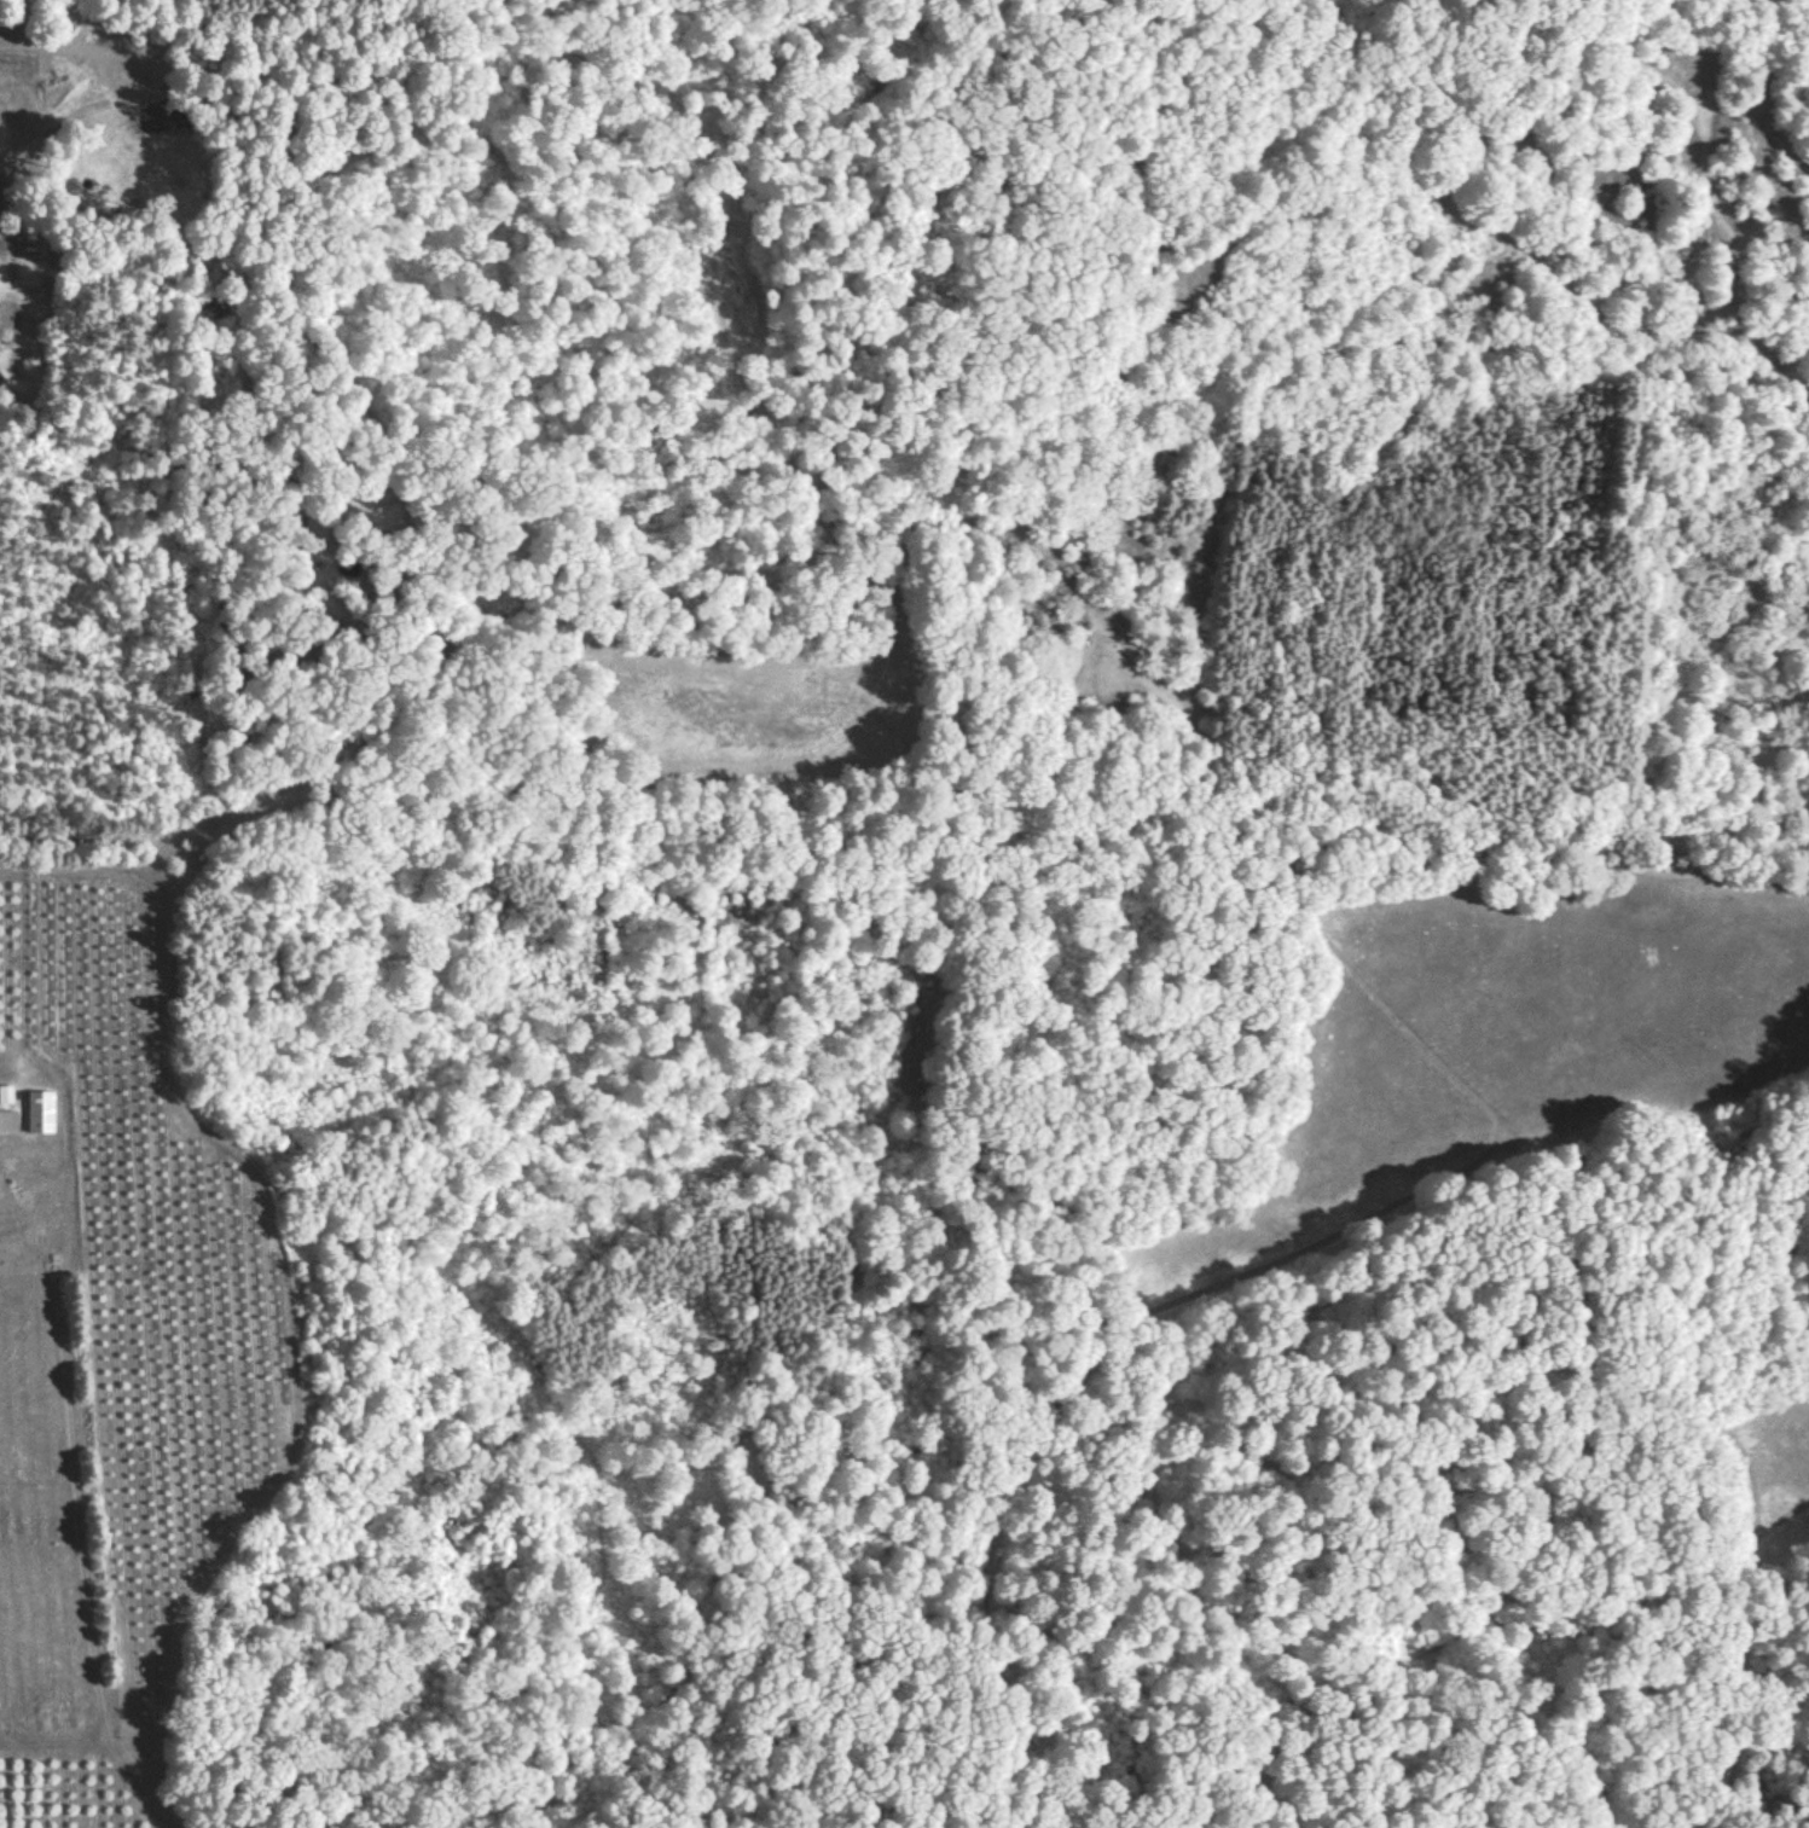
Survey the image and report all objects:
road: (904, 765)
building: (6, 1097)
building: (40, 1114)
building: (8, 1124)

